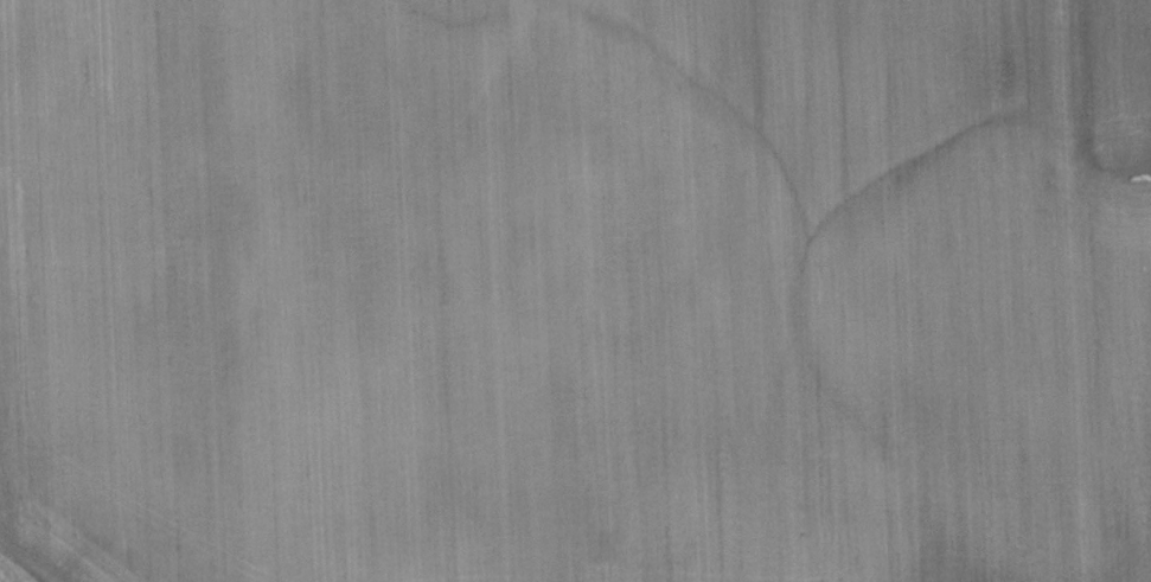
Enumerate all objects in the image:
crop: (576, 290)

